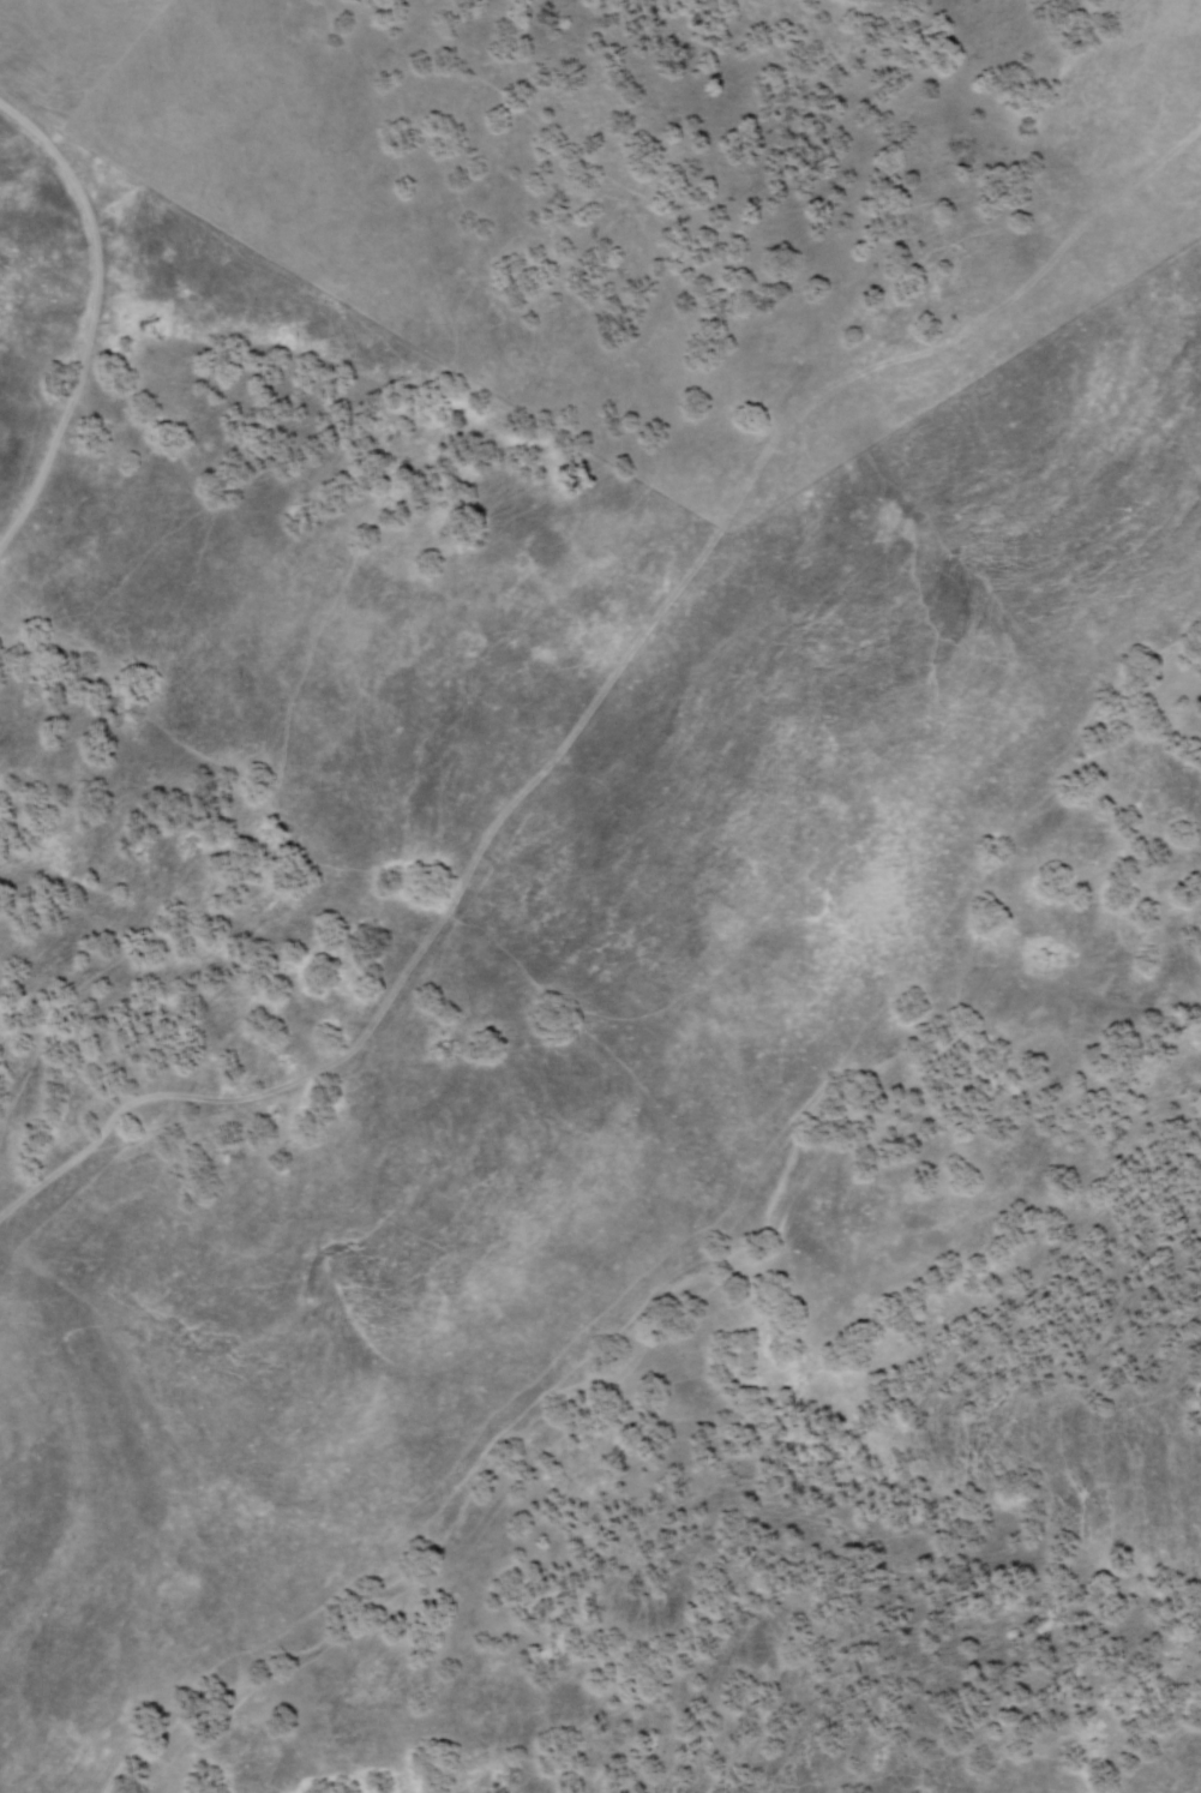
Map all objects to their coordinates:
road: (92, 314)

